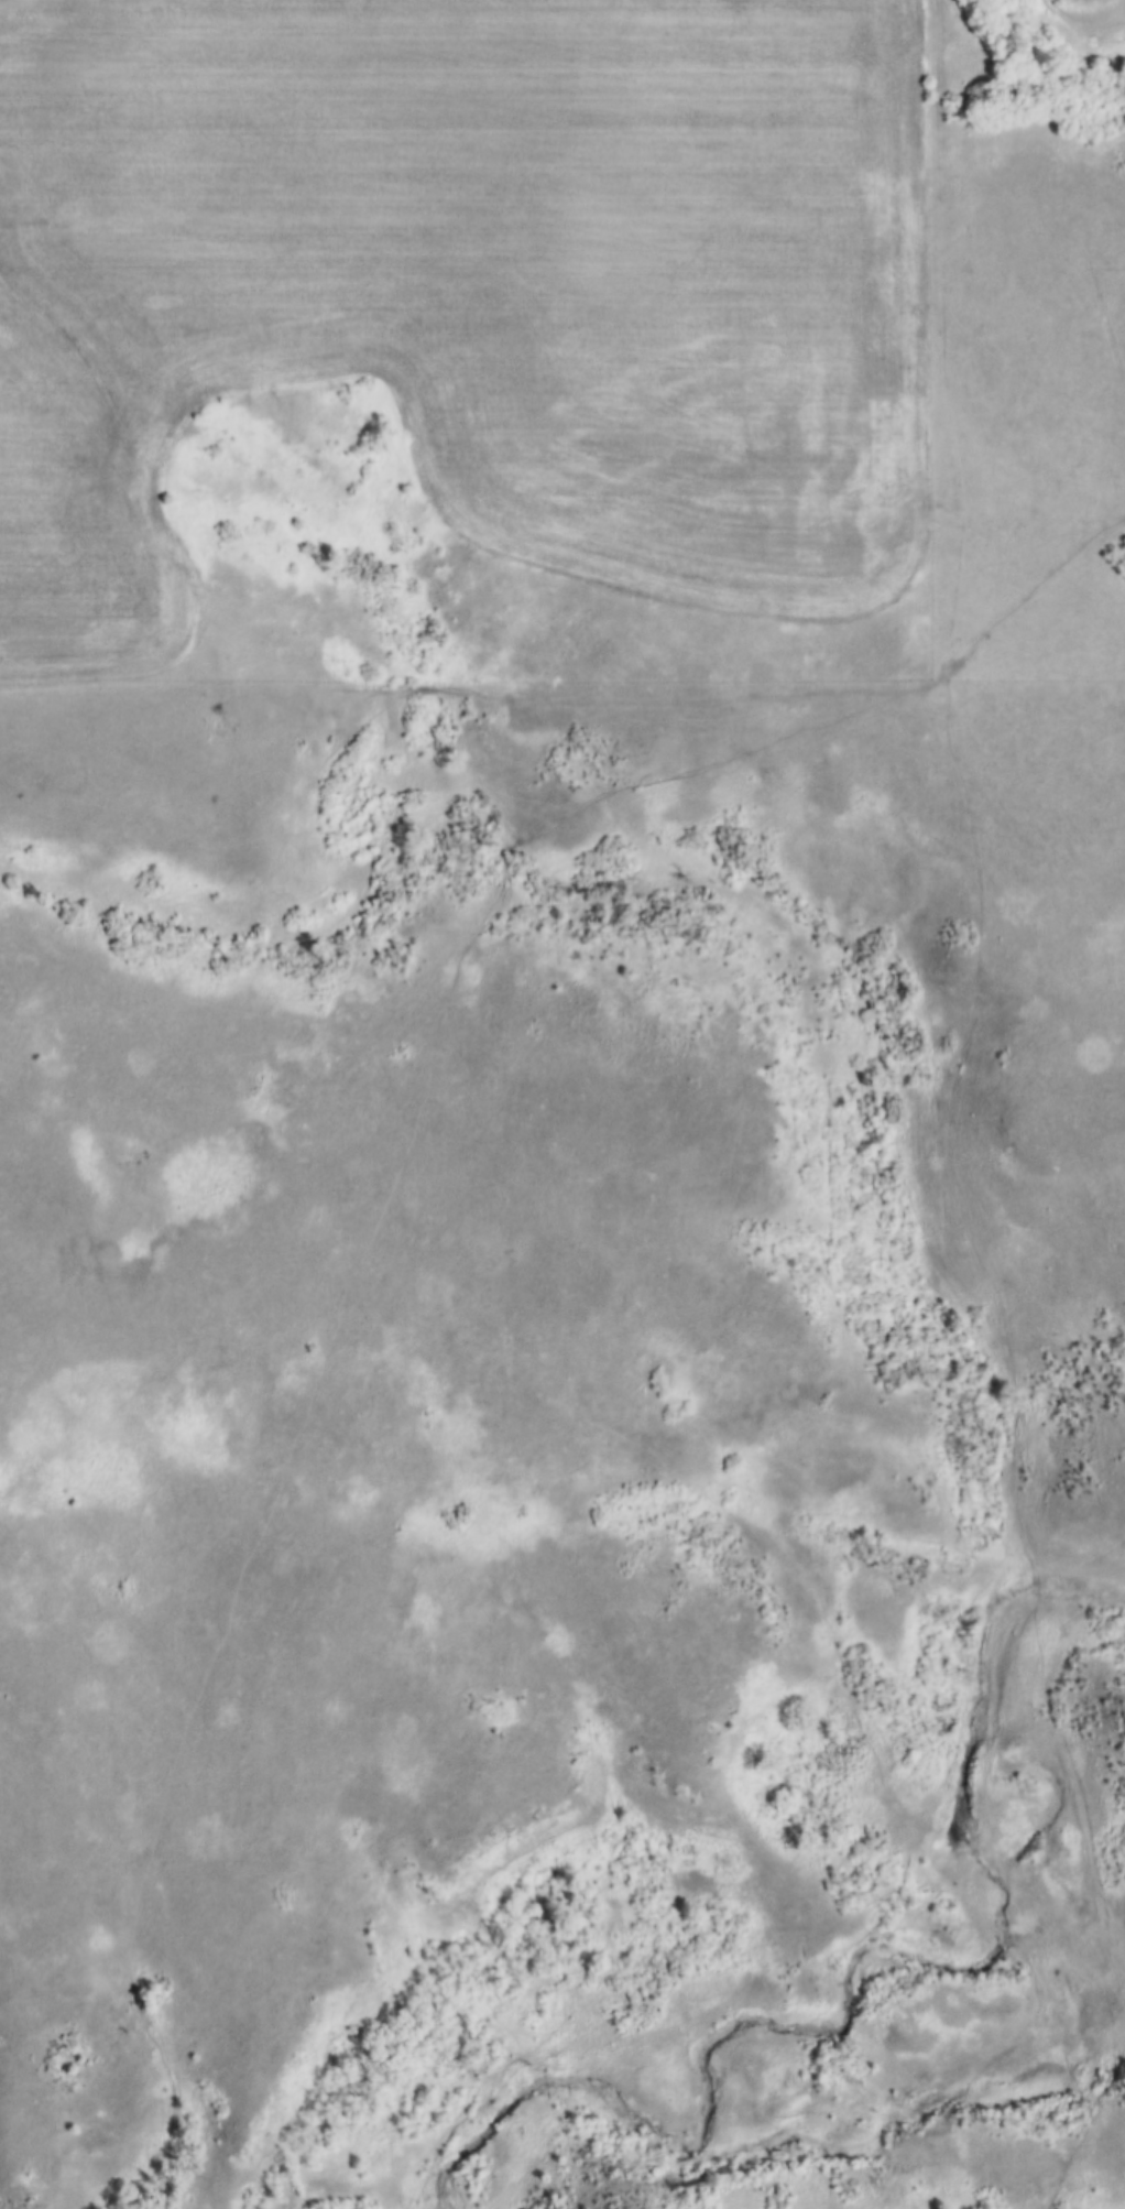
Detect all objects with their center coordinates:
building: (66, 112)

